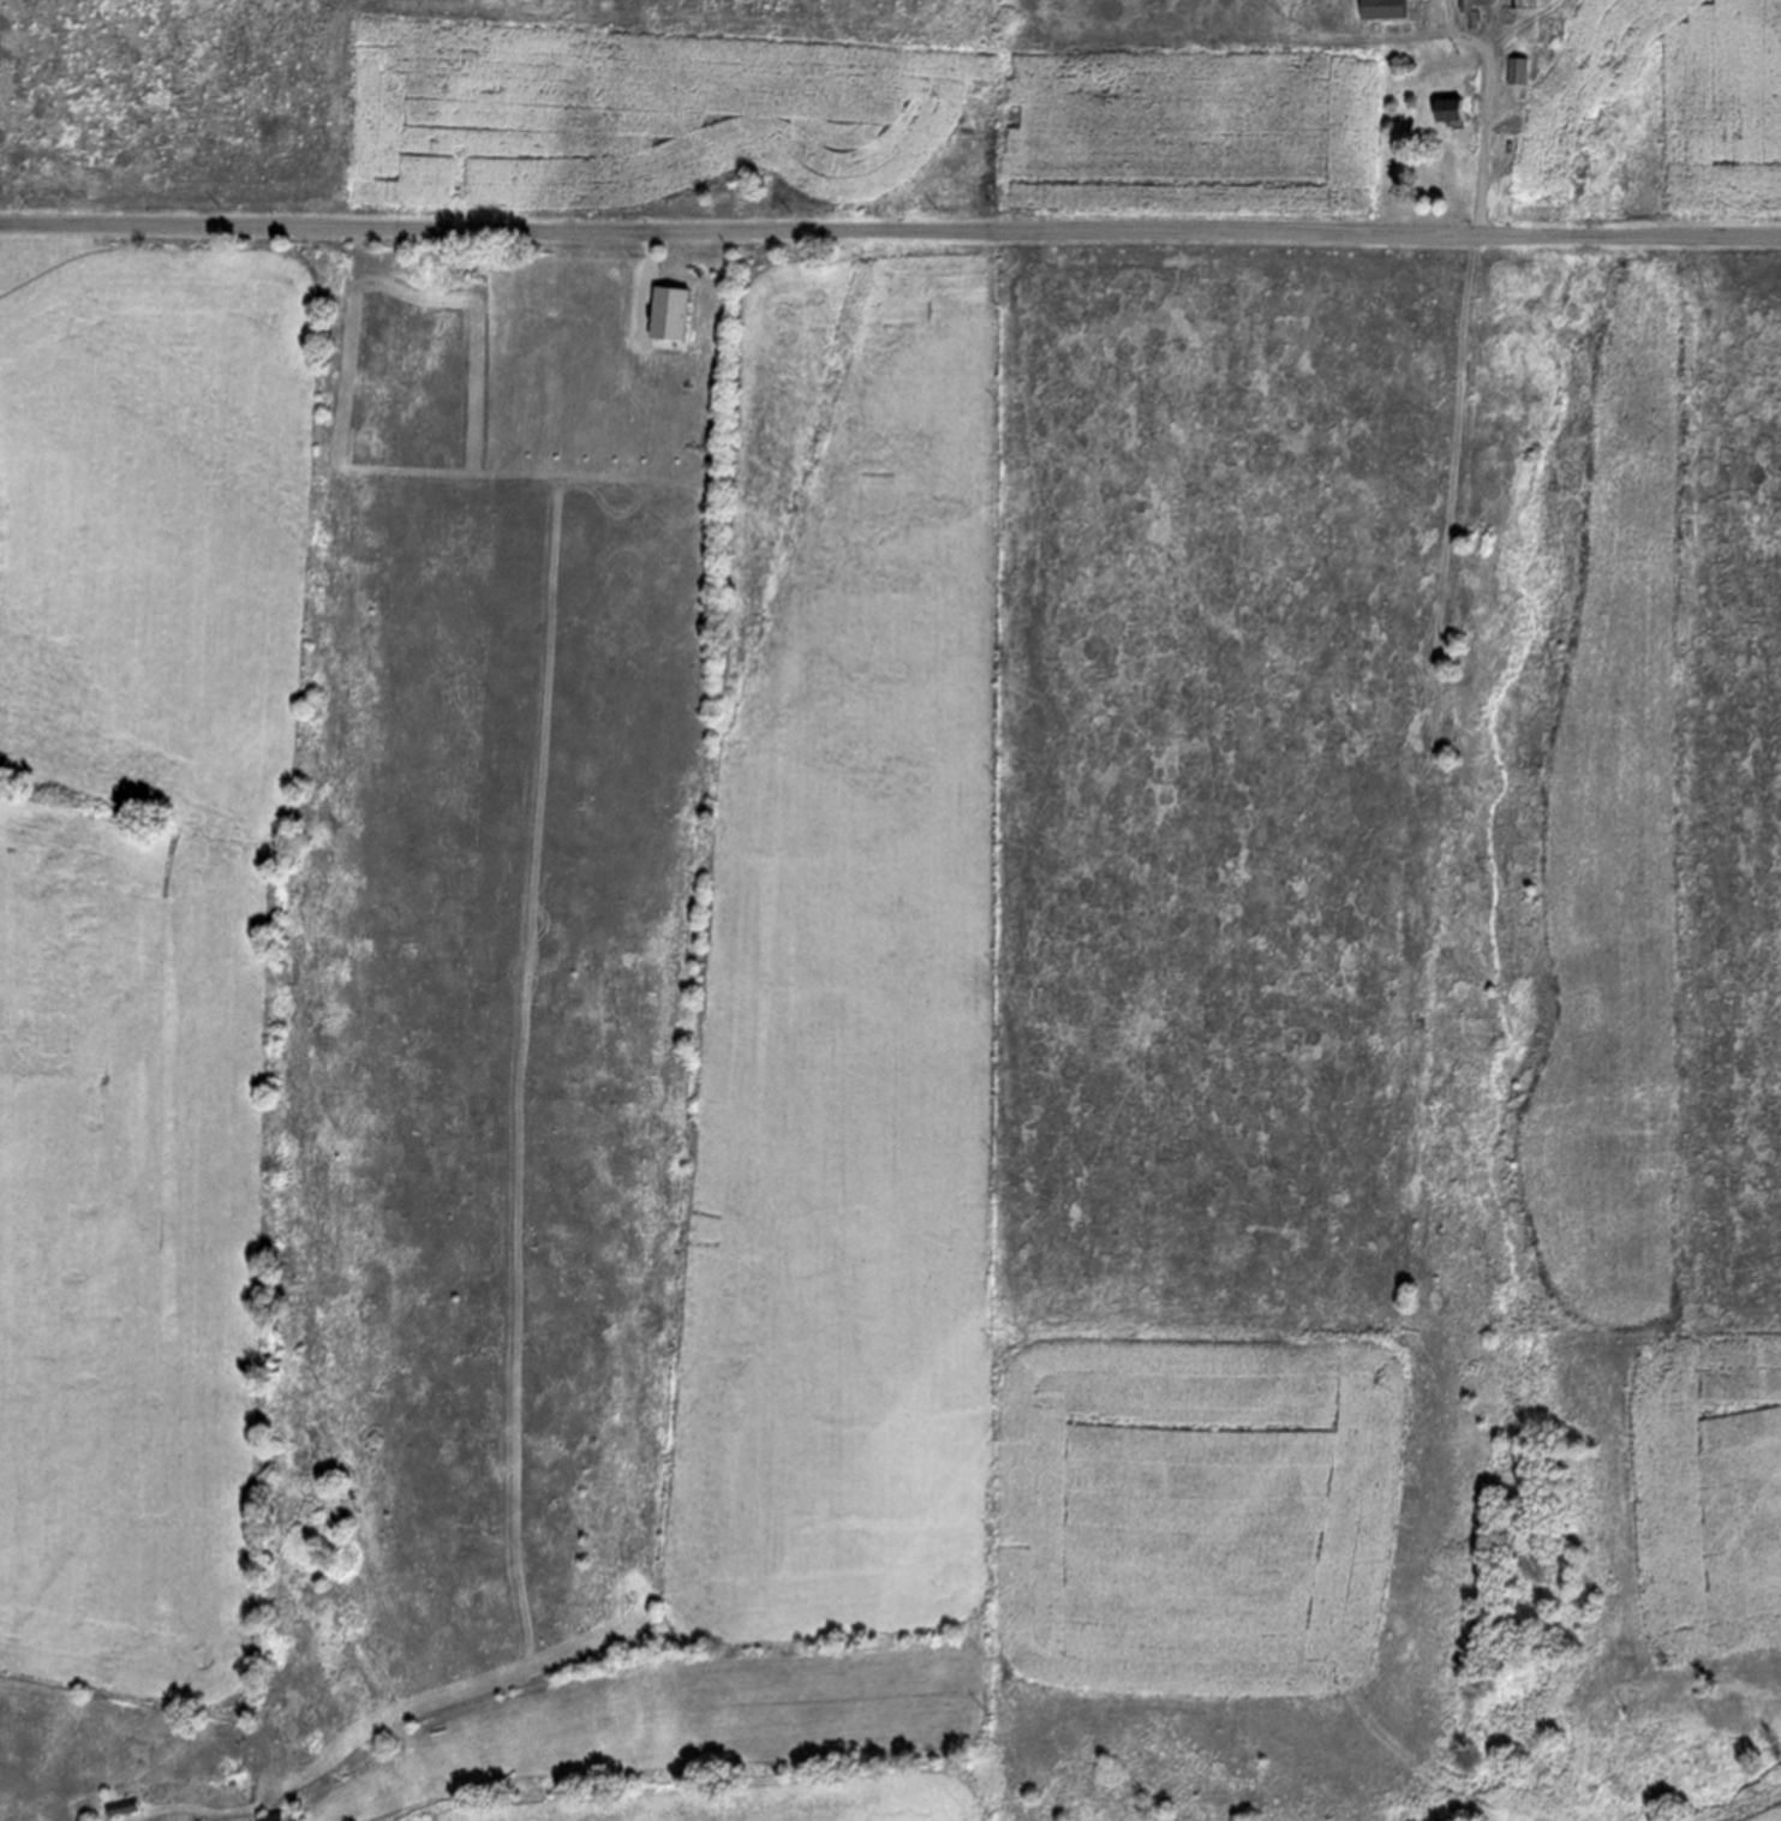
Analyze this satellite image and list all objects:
building: (1383, 8)
building: (1470, 10)
building: (1519, 71)
road: (1489, 106)
building: (1451, 112)
building: (1505, 142)
road: (890, 231)
building: (124, 1807)
building: (271, 1816)

